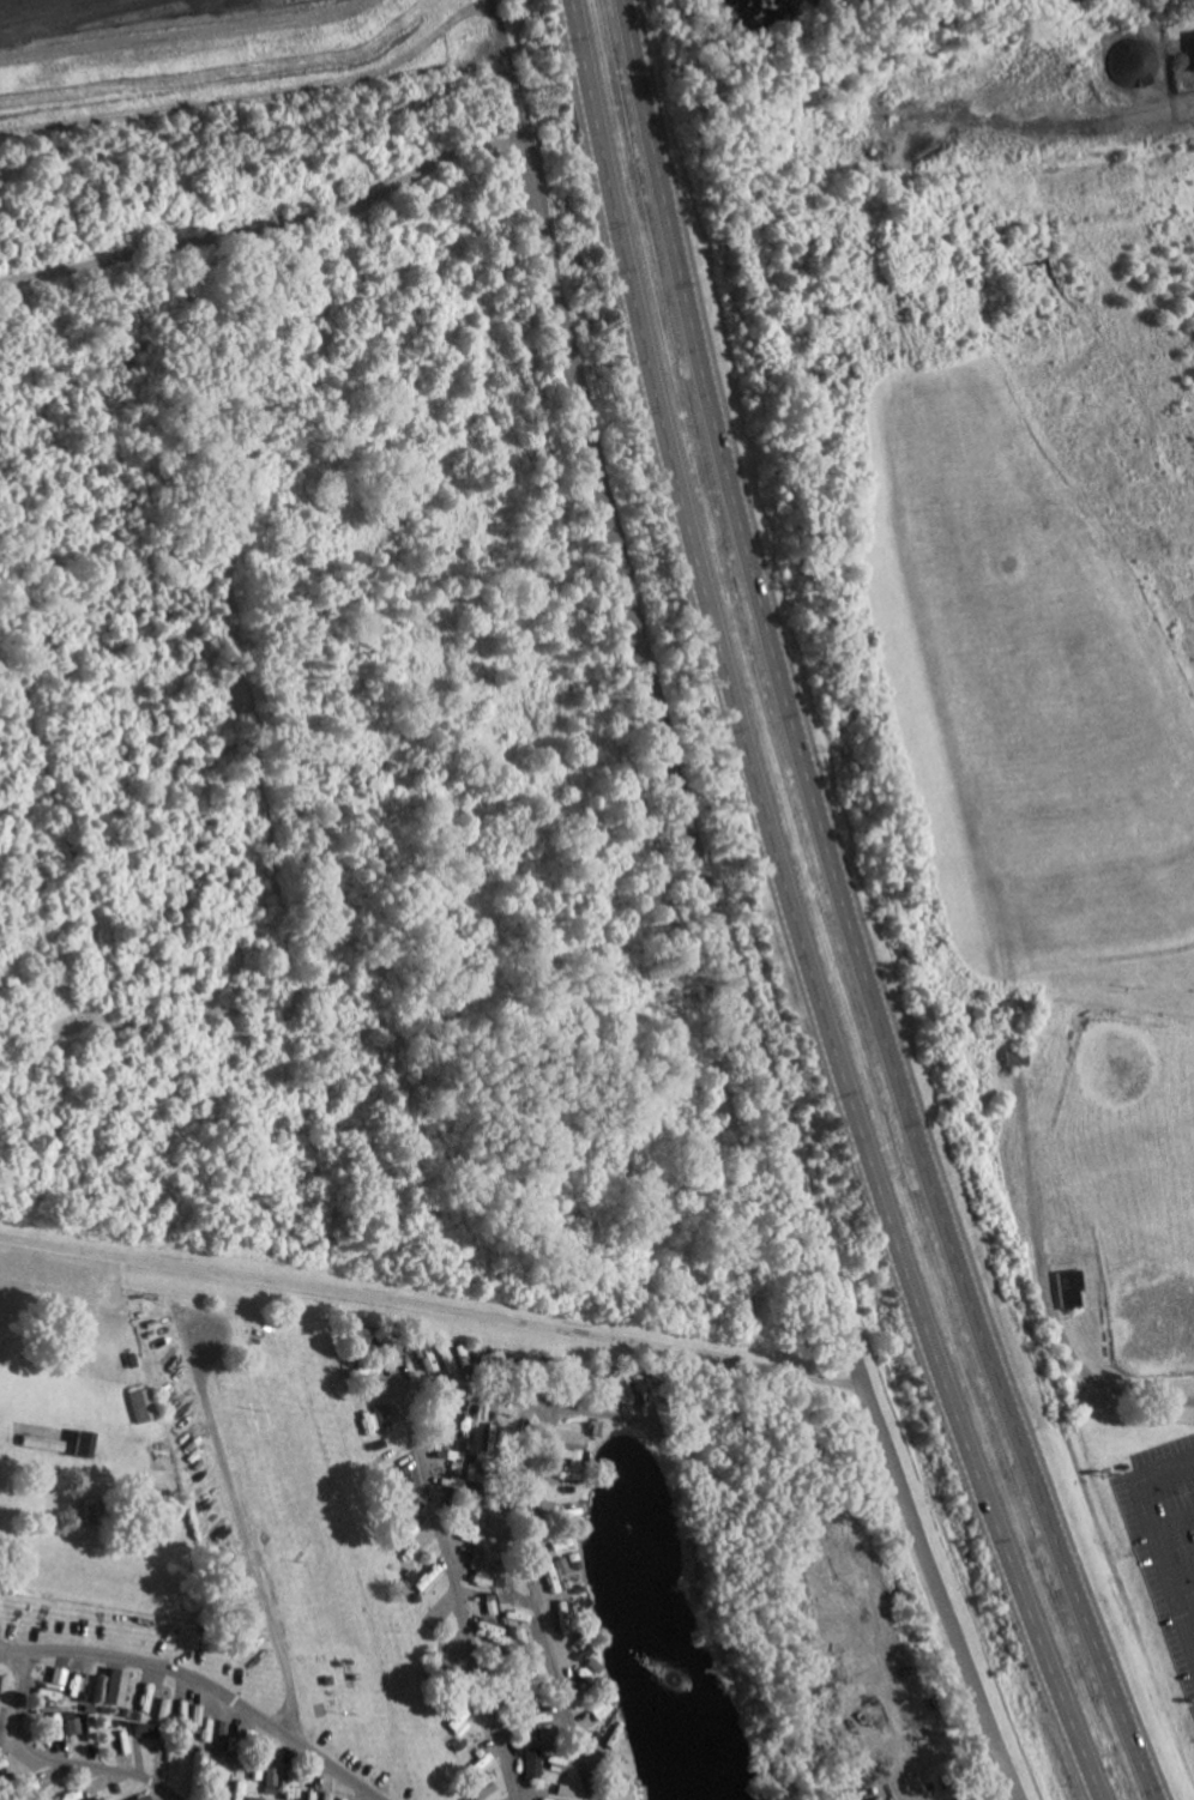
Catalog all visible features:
road: (175, 30)
building: (1192, 49)
building: (1132, 66)
road: (255, 92)
road: (269, 228)
road: (712, 912)
road: (846, 912)
road: (791, 913)
park: (1126, 1113)
park: (1144, 1266)
road: (1048, 1292)
road: (433, 1307)
road: (520, 1401)
building: (376, 1415)
road: (227, 1478)
road: (1171, 1521)
road: (1152, 1539)
building: (549, 1570)
road: (1180, 1571)
road: (454, 1583)
road: (536, 1606)
road: (706, 1612)
road: (1188, 1623)
road: (16, 1650)
road: (193, 1678)
building: (107, 1687)
building: (158, 1708)
building: (193, 1715)
building: (68, 1726)
building: (140, 1730)
building: (526, 1764)
road: (82, 1765)
building: (266, 1776)
building: (481, 1794)
building: (321, 1796)
building: (137, 1799)

